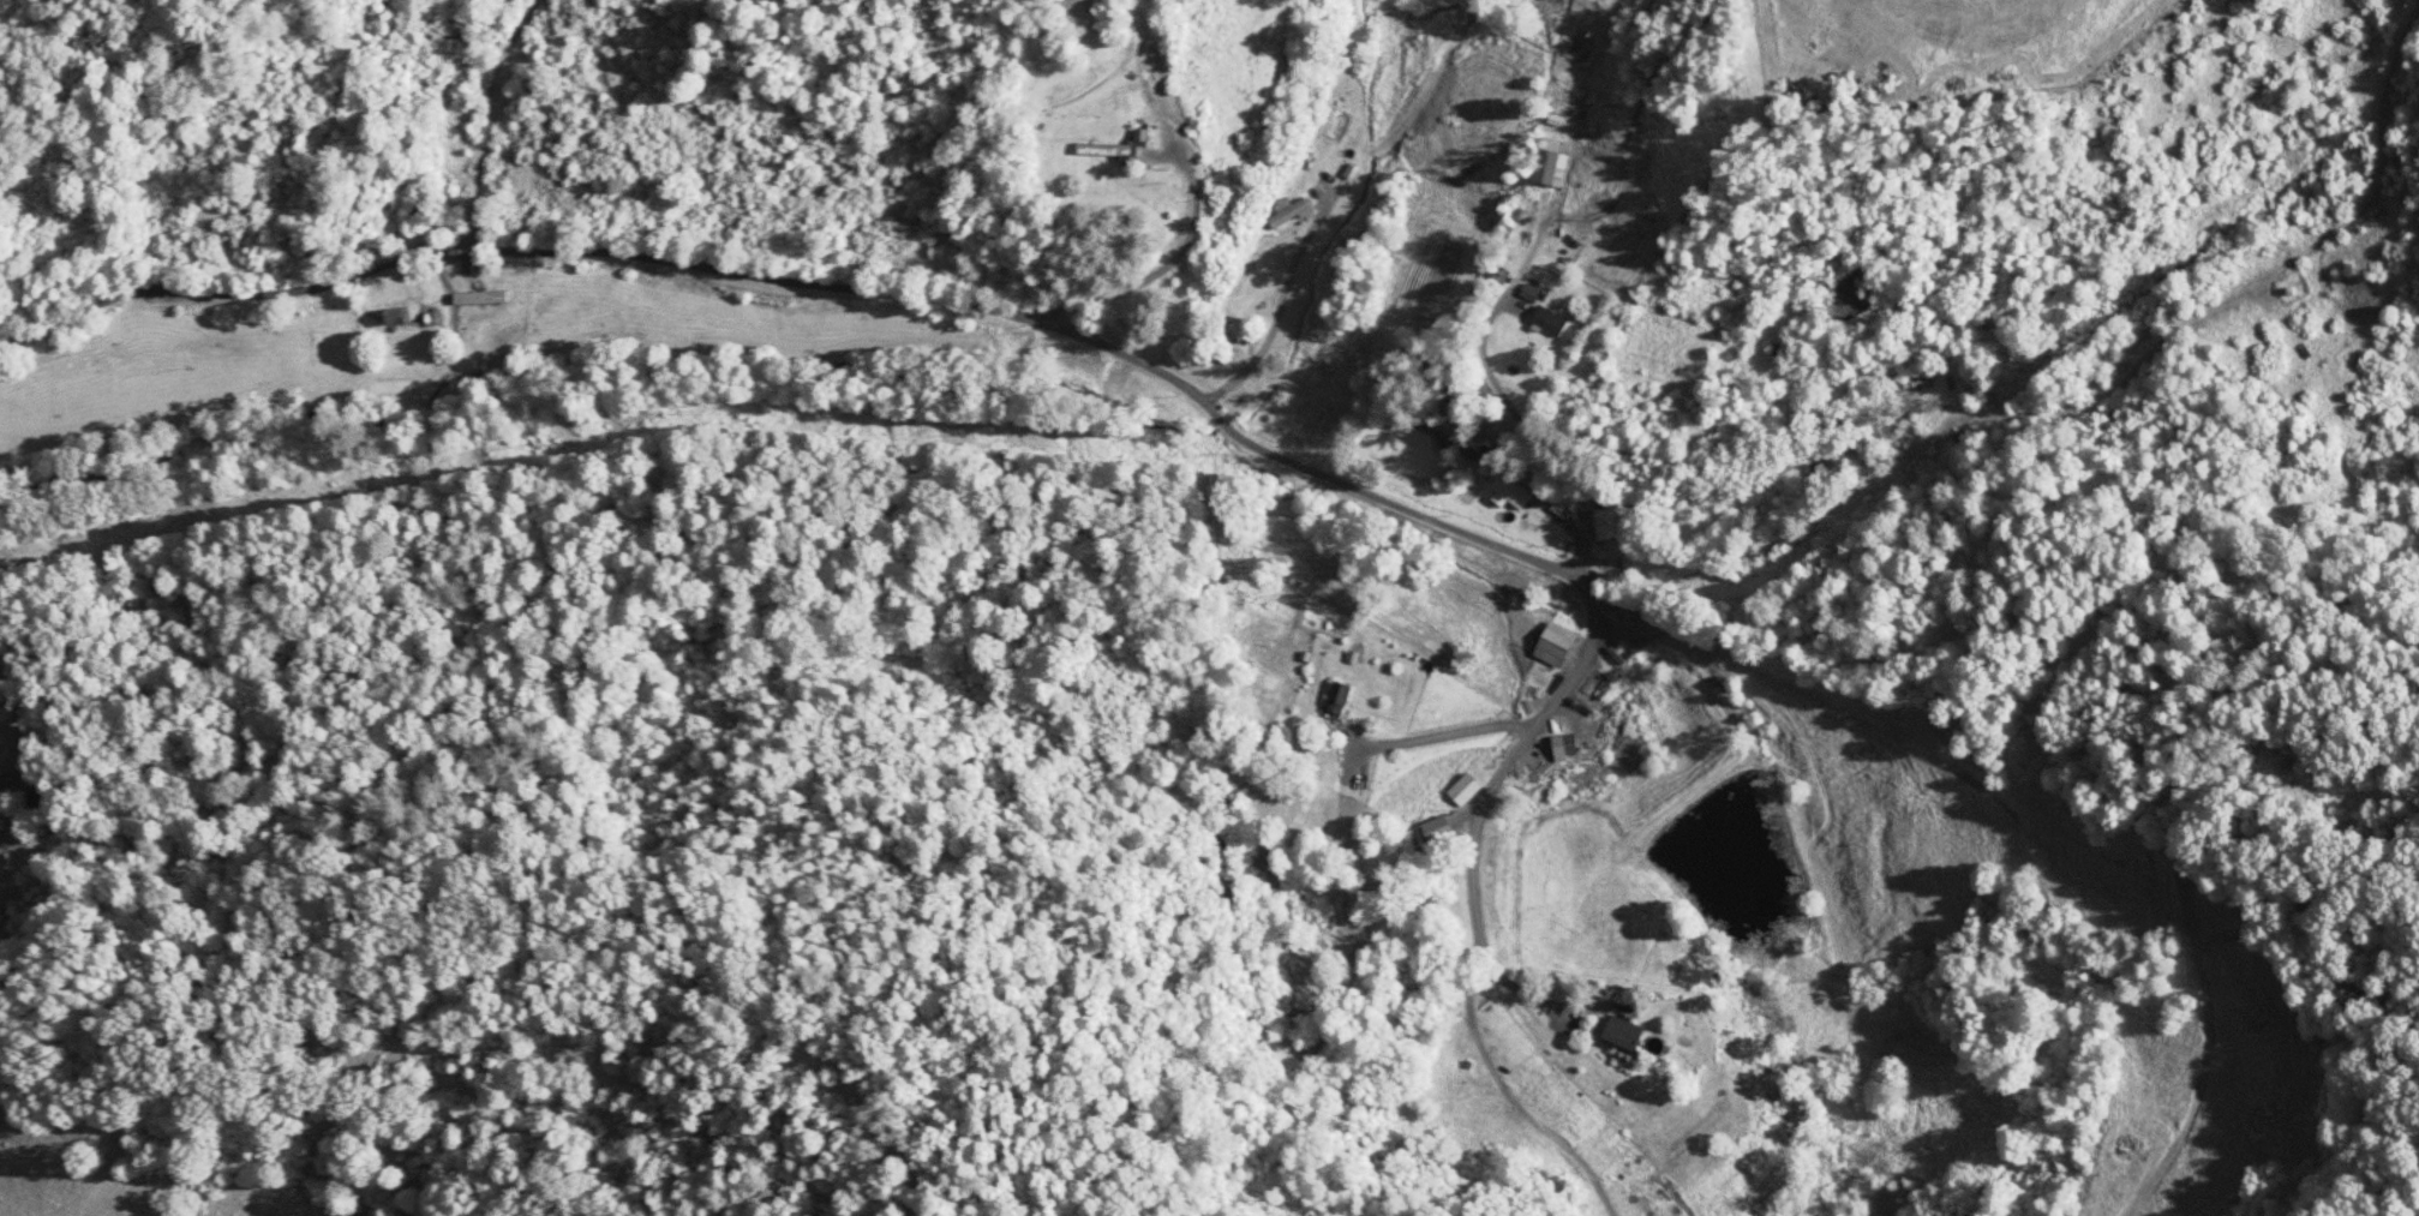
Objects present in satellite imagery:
building: (1113, 151)
building: (1547, 167)
building: (419, 202)
road: (820, 227)
building: (1280, 253)
building: (481, 299)
building: (1549, 321)
building: (1321, 387)
building: (1510, 489)
road: (1898, 489)
building: (1556, 646)
building: (1340, 697)
building: (1465, 789)
building: (1435, 828)
building: (1609, 1031)

